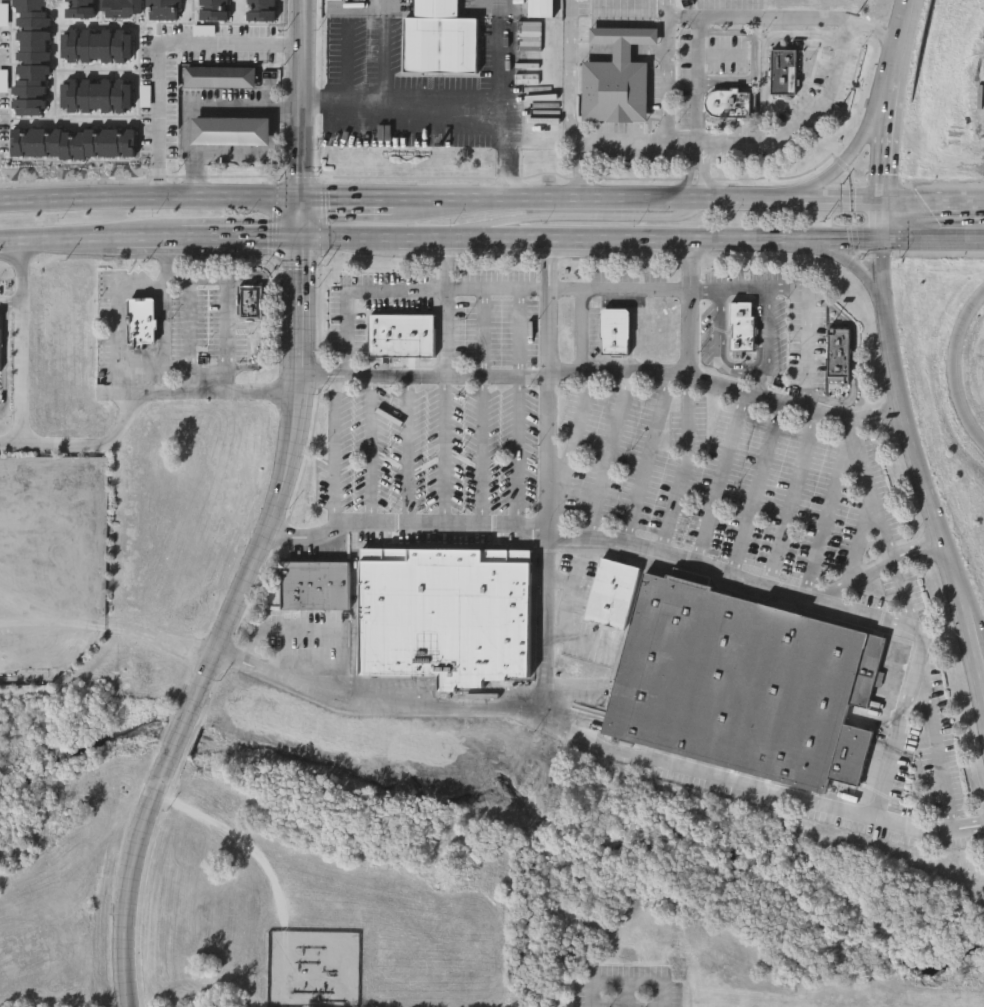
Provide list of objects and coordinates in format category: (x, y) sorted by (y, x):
building: (118, 7)
building: (542, 7)
building: (79, 8)
building: (437, 8)
building: (163, 9)
building: (213, 9)
building: (258, 9)
road: (716, 25)
road: (683, 26)
building: (95, 44)
building: (438, 44)
road: (382, 50)
road: (161, 51)
building: (30, 57)
building: (784, 70)
building: (618, 74)
building: (219, 75)
building: (95, 94)
road: (305, 99)
road: (897, 100)
road: (423, 101)
building: (725, 104)
road: (198, 107)
road: (802, 126)
building: (230, 130)
gas station: (230, 130)
building: (72, 142)
road: (621, 152)
road: (684, 153)
road: (853, 163)
road: (509, 174)
road: (583, 176)
road: (152, 196)
traffic signals: (305, 200)
road: (350, 200)
road: (640, 201)
traffic signals: (885, 202)
road: (934, 202)
road: (581, 217)
road: (304, 220)
road: (147, 241)
road: (242, 241)
traffic signals: (304, 241)
road: (351, 241)
road: (421, 241)
road: (457, 241)
road: (56, 242)
road: (631, 242)
traffic signals: (881, 243)
road: (888, 243)
road: (542, 266)
road: (553, 266)
road: (27, 273)
road: (194, 277)
road: (855, 279)
road: (619, 286)
road: (726, 286)
road: (354, 290)
road: (398, 290)
road: (472, 291)
road: (716, 294)
road: (14, 302)
building: (249, 304)
road: (445, 310)
road: (686, 310)
road: (163, 317)
road: (108, 319)
building: (141, 322)
road: (717, 325)
building: (742, 325)
road: (766, 325)
building: (615, 330)
road: (547, 333)
road: (224, 334)
road: (344, 334)
building: (401, 334)
road: (186, 335)
road: (265, 338)
road: (857, 339)
road: (757, 349)
road: (805, 351)
building: (837, 356)
road: (956, 373)
road: (422, 378)
road: (583, 378)
road: (760, 381)
road: (29, 387)
road: (725, 389)
road: (200, 393)
road: (480, 411)
road: (517, 411)
road: (906, 430)
road: (103, 445)
road: (371, 453)
road: (407, 454)
road: (444, 455)
road: (334, 456)
road: (606, 458)
road: (646, 460)
building: (49, 468)
road: (682, 468)
road: (592, 474)
road: (716, 480)
road: (753, 491)
building: (90, 500)
road: (789, 502)
road: (825, 509)
road: (860, 537)
road: (595, 541)
road: (889, 545)
building: (90, 550)
road: (544, 551)
road: (873, 565)
road: (557, 583)
building: (313, 584)
building: (612, 592)
road: (566, 600)
building: (447, 613)
road: (353, 619)
road: (227, 627)
road: (309, 630)
road: (579, 642)
road: (279, 649)
road: (980, 657)
road: (309, 658)
road: (980, 670)
building: (9, 676)
building: (744, 684)
road: (896, 733)
road: (599, 741)
road: (937, 753)
road: (627, 982)

